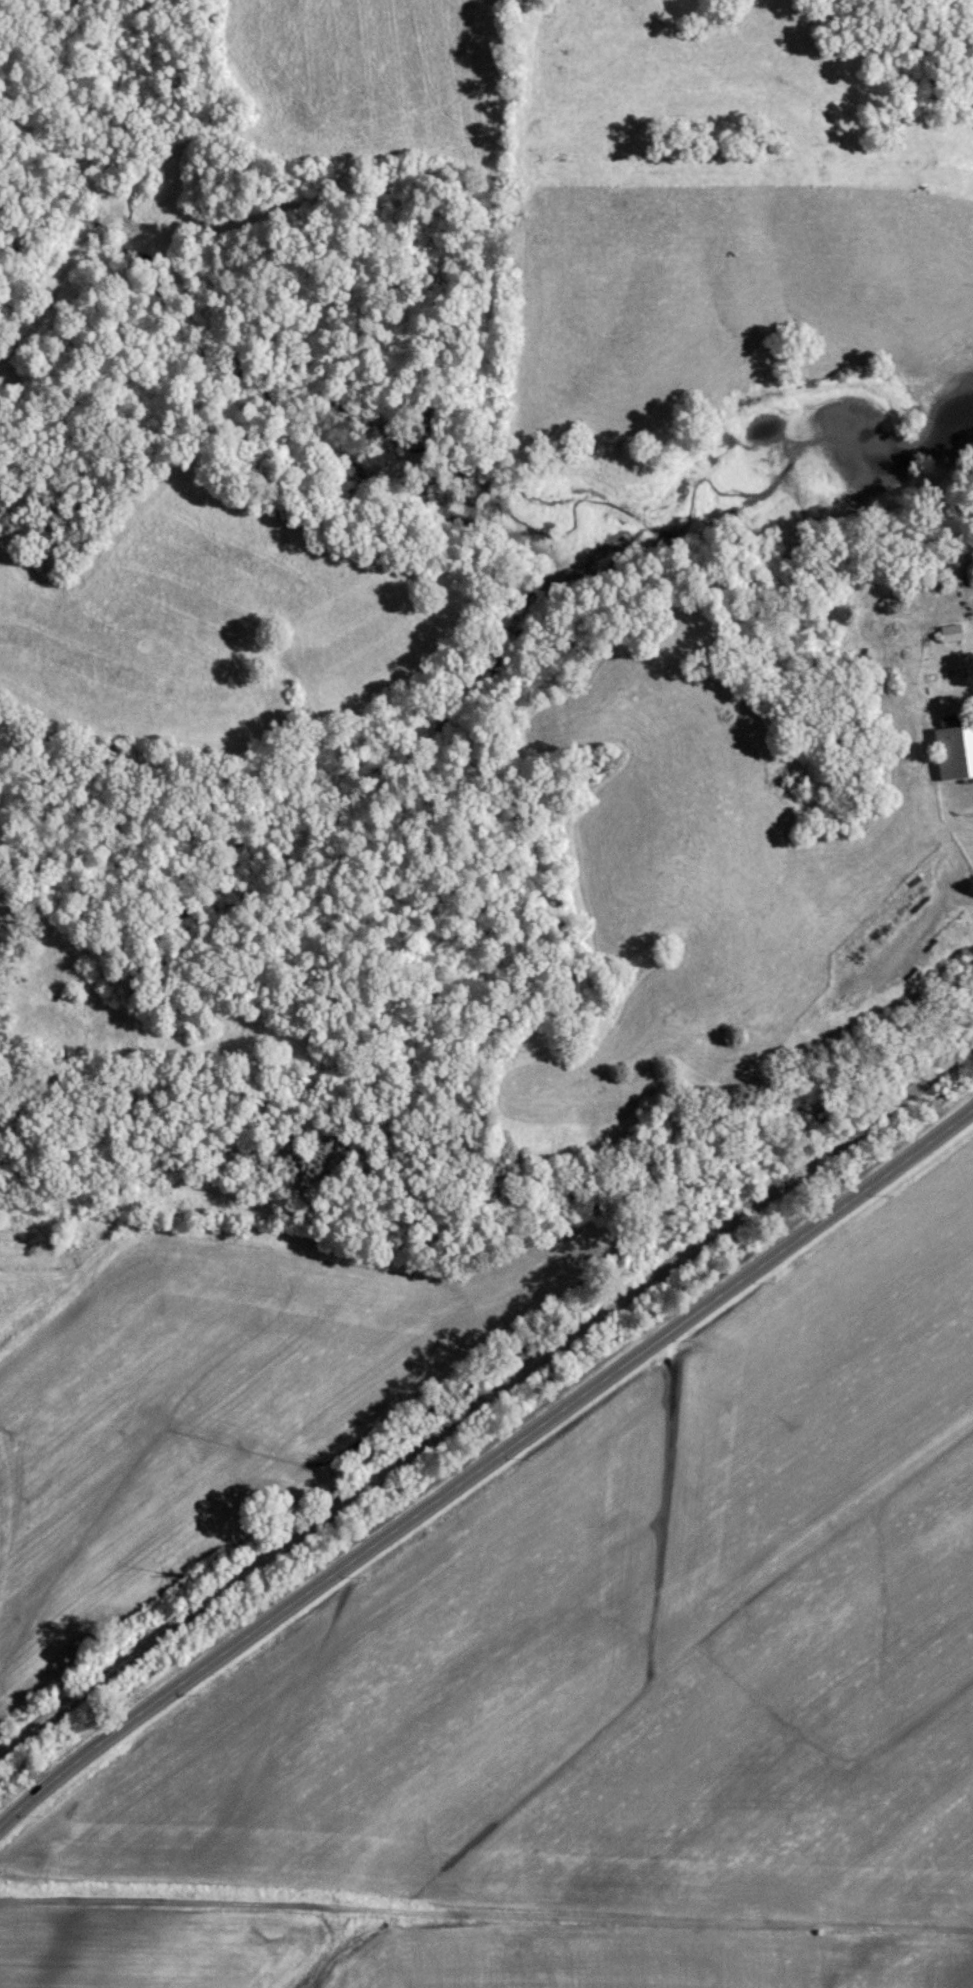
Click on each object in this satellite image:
building: (948, 634)
building: (952, 752)
road: (485, 1397)
road: (484, 1469)

